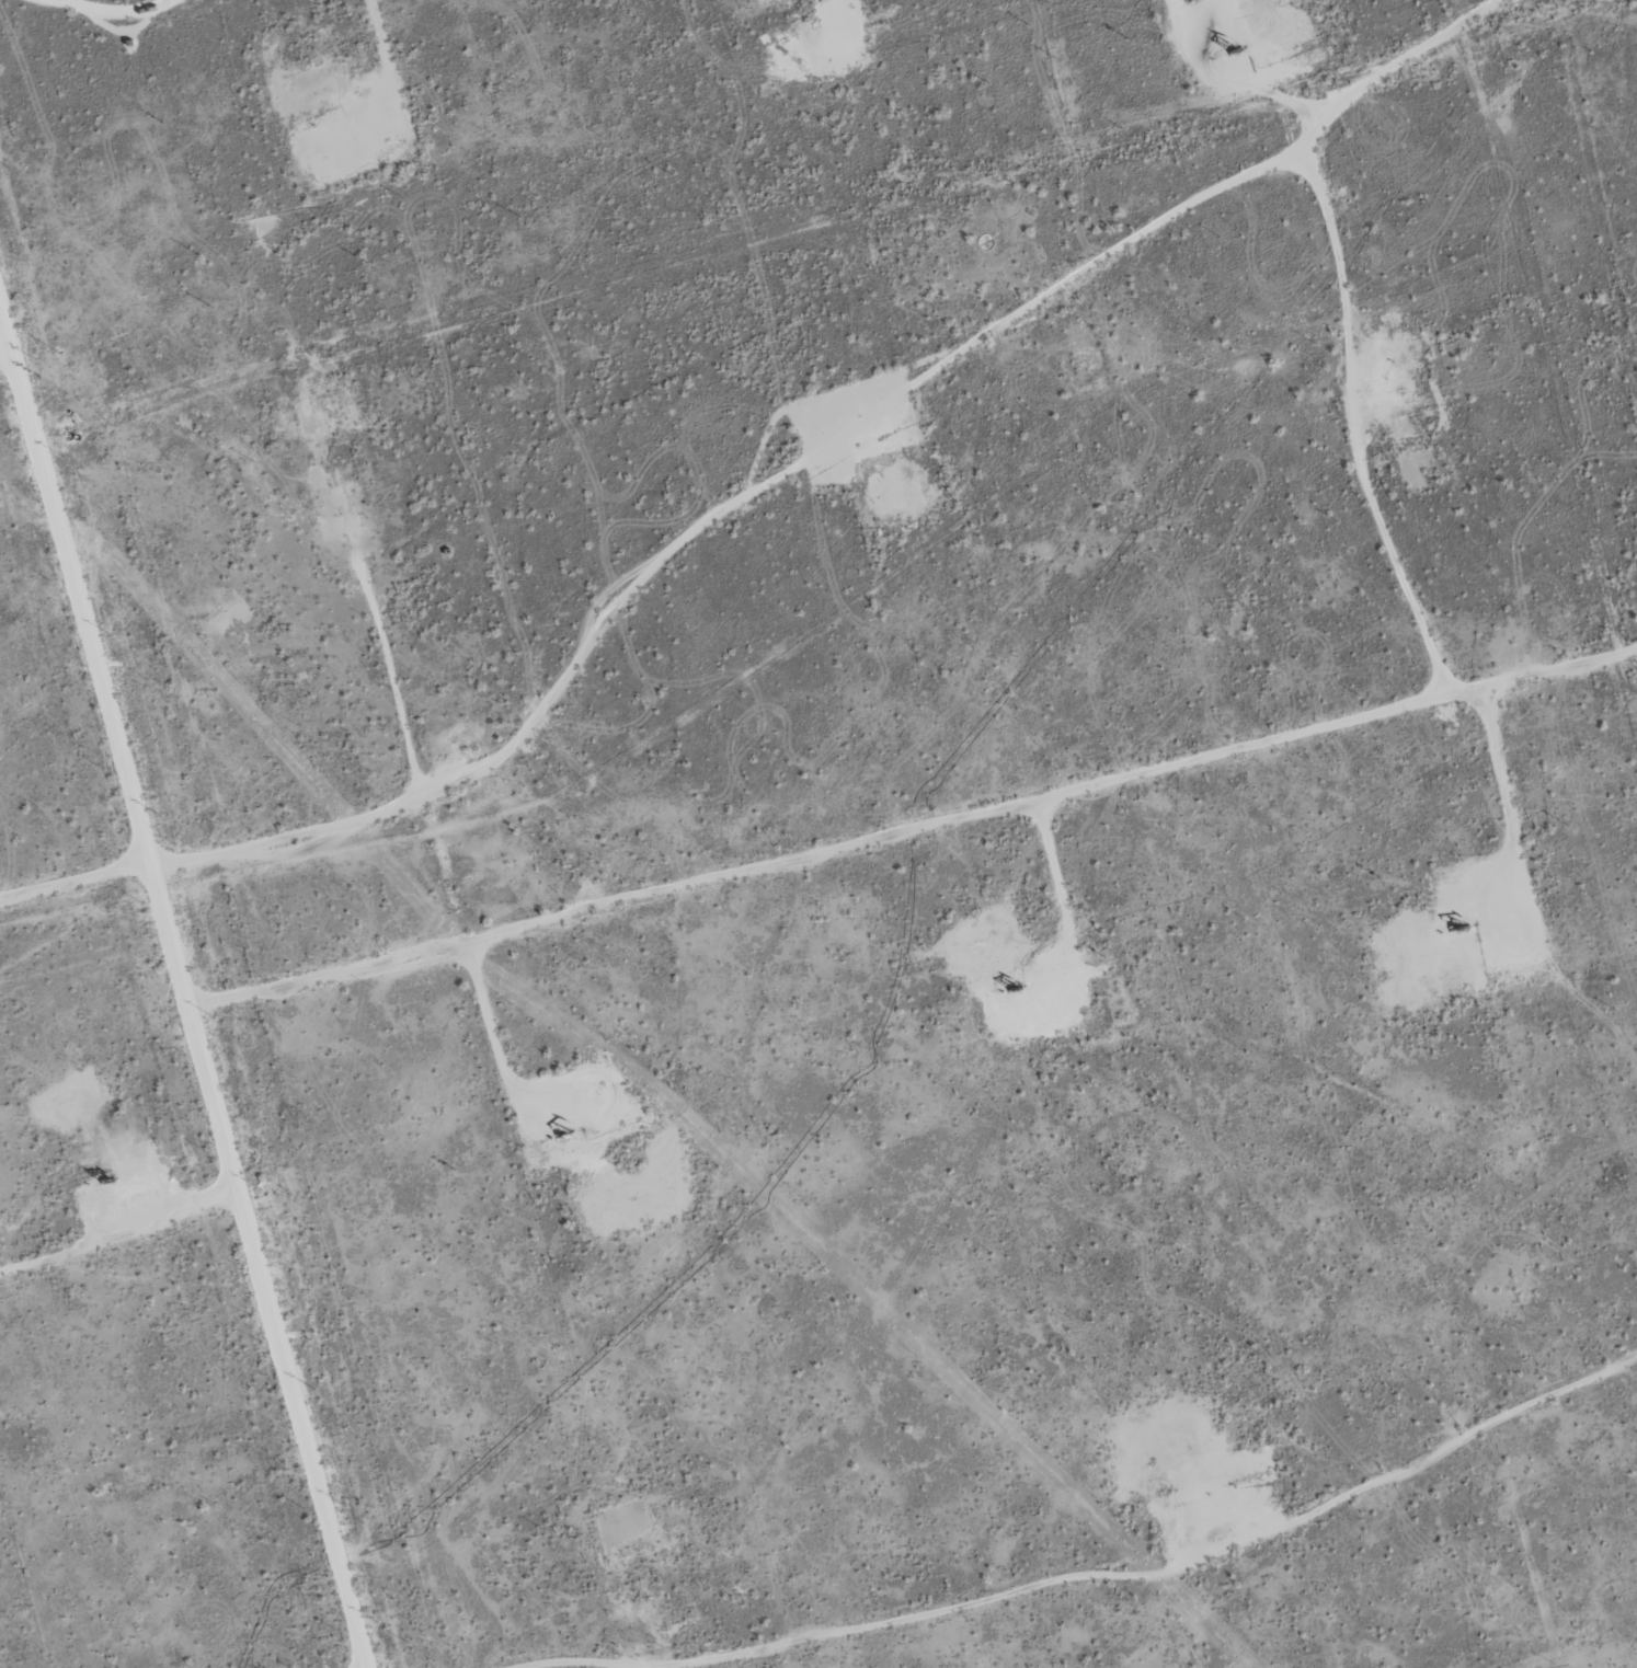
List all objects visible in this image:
road: (913, 809)
road: (185, 967)

